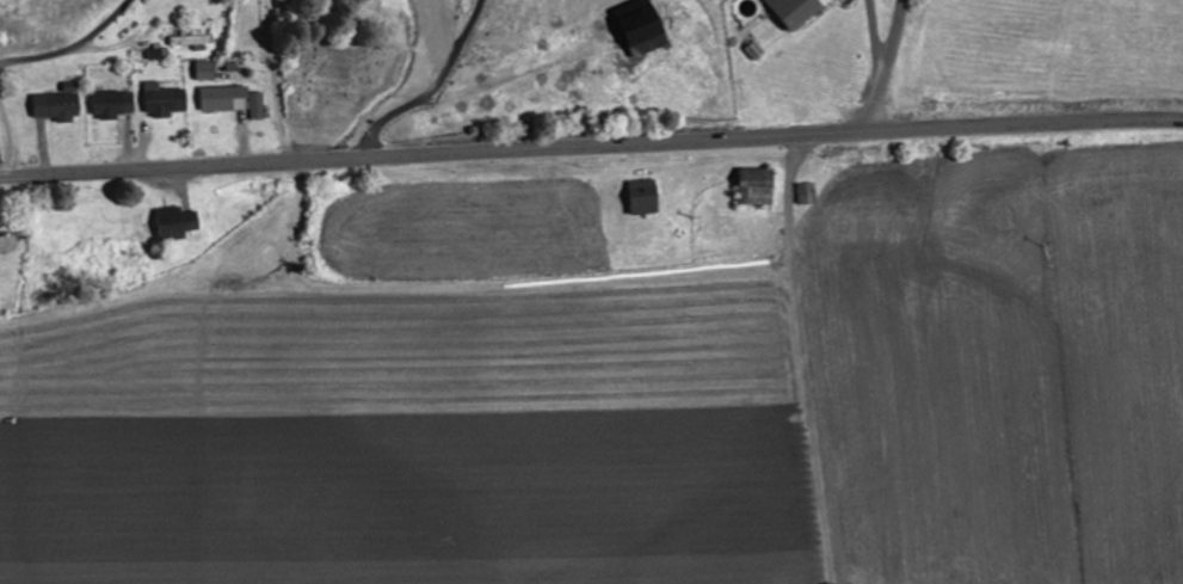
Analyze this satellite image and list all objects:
building: (799, 11)
building: (642, 27)
building: (195, 41)
road: (67, 50)
building: (757, 50)
building: (158, 53)
park: (332, 54)
road: (888, 68)
building: (208, 70)
building: (167, 100)
building: (235, 100)
building: (62, 103)
building: (116, 104)
road: (11, 139)
road: (591, 147)
building: (758, 186)
building: (811, 193)
building: (646, 197)
building: (178, 223)

